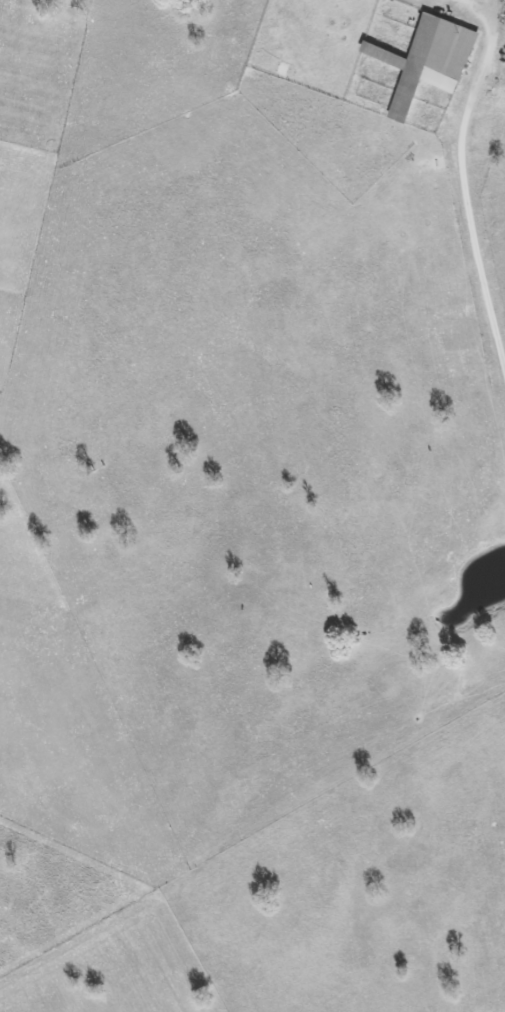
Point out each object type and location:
building: (428, 60)
road: (464, 180)

